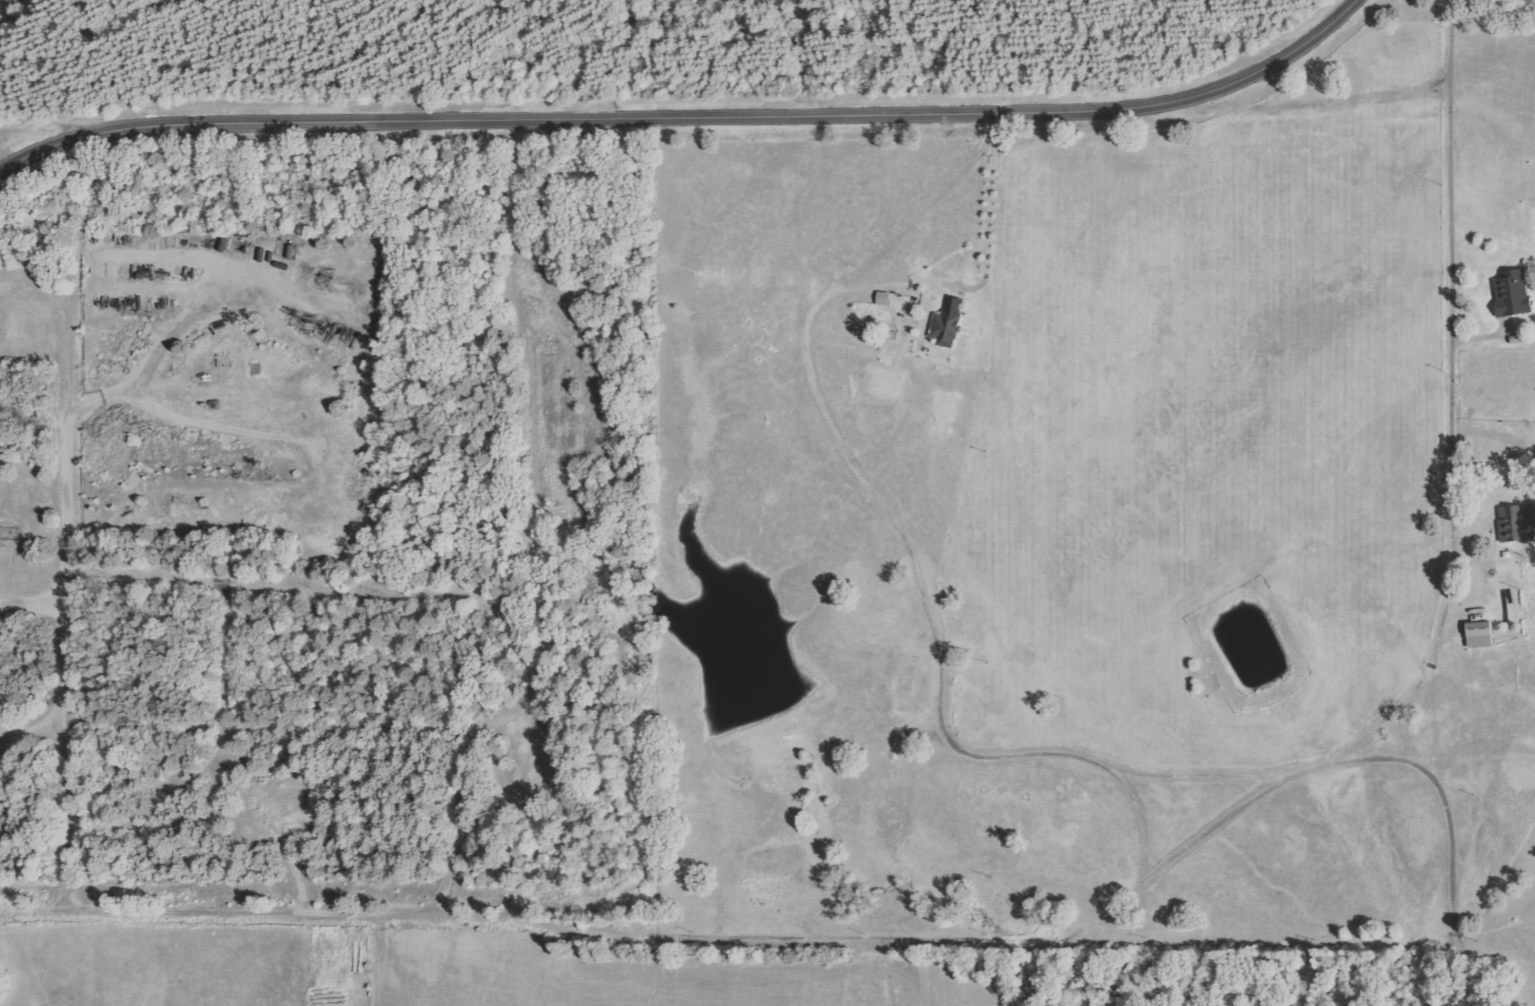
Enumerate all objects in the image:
road: (1447, 41)
road: (1310, 104)
road: (688, 112)
road: (51, 127)
road: (990, 202)
building: (1511, 293)
building: (947, 324)
building: (1516, 522)
road: (525, 530)
road: (86, 552)
road: (262, 593)
building: (1478, 634)
road: (272, 730)
road: (1072, 755)
road: (1138, 815)
road: (1058, 942)
road: (937, 974)

